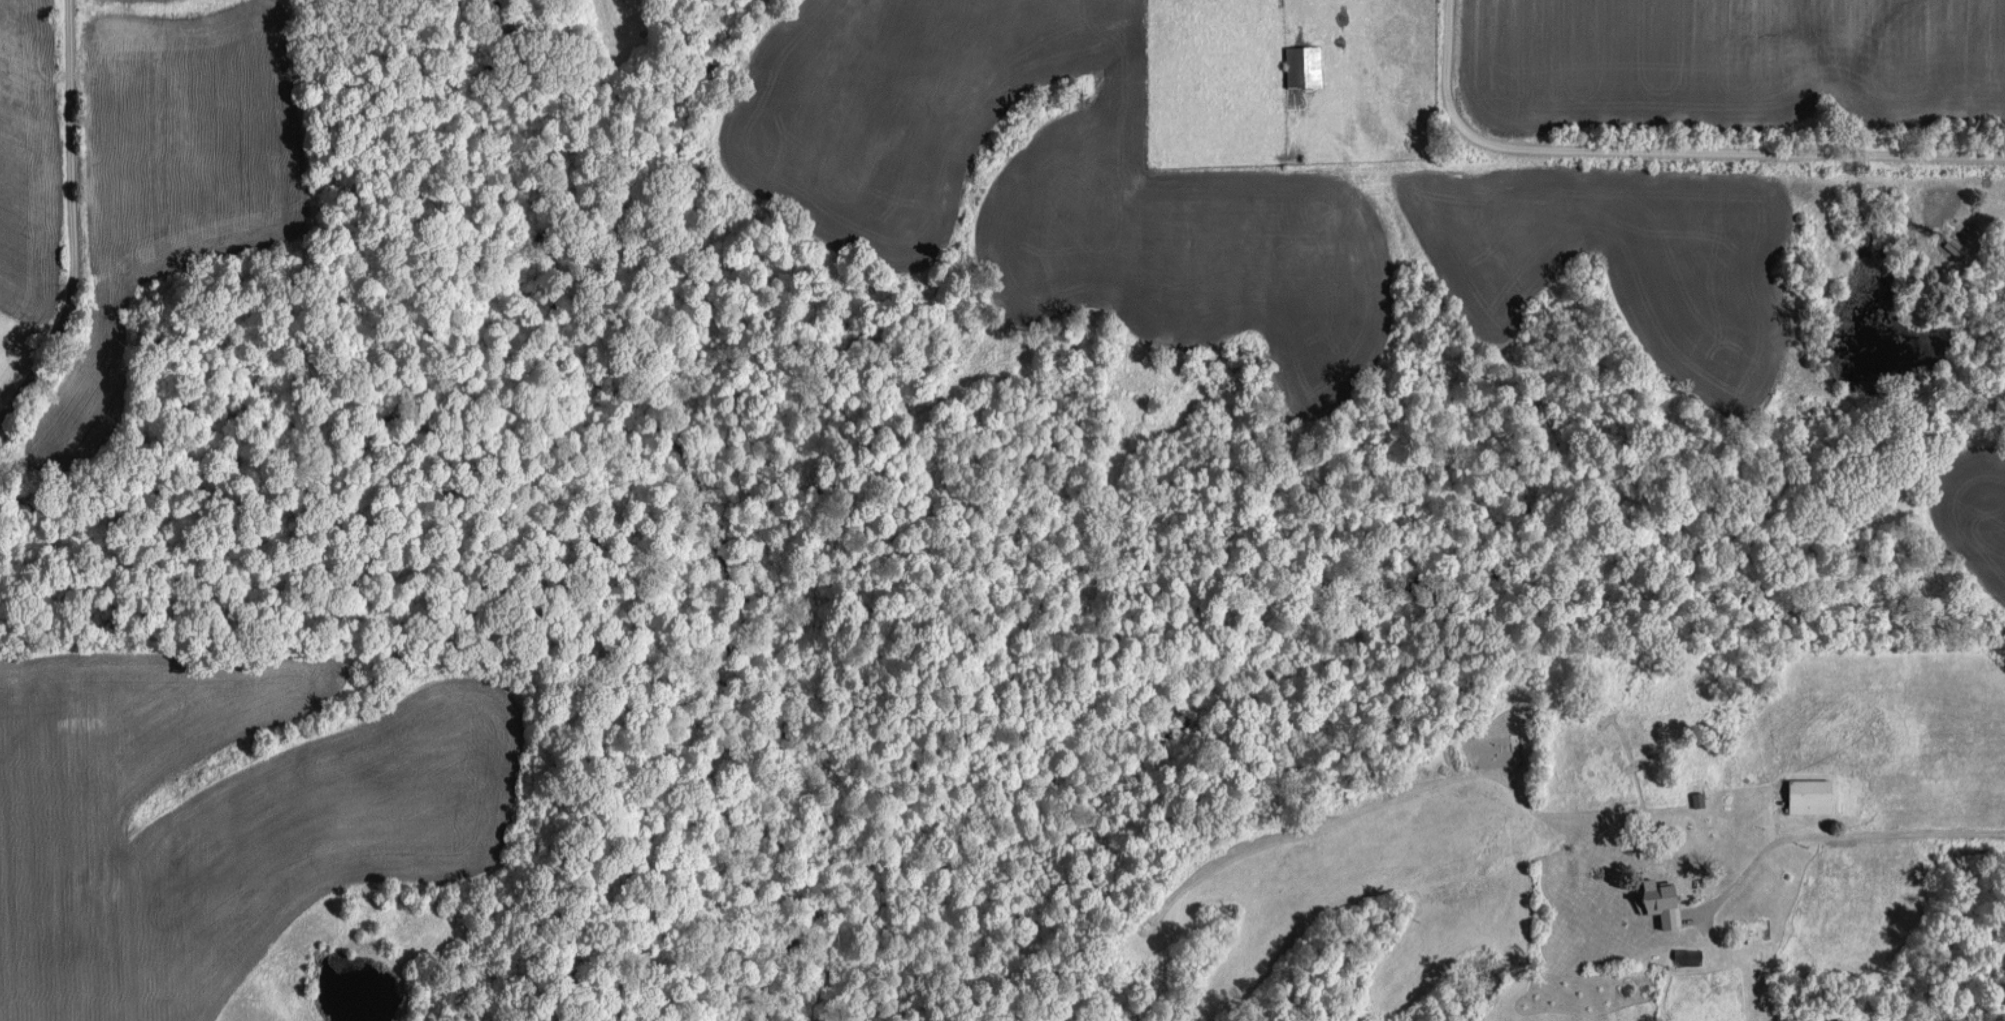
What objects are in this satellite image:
building: (1306, 65)
road: (1664, 151)
road: (72, 216)
building: (1958, 245)
building: (1813, 796)
road: (1834, 834)
building: (1690, 956)

